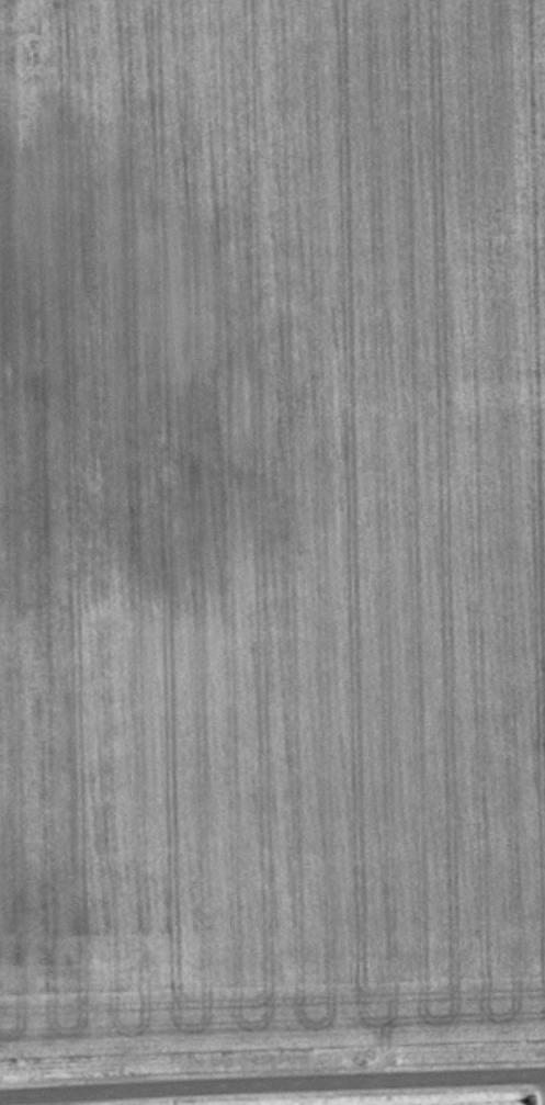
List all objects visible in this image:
road: (272, 1083)

